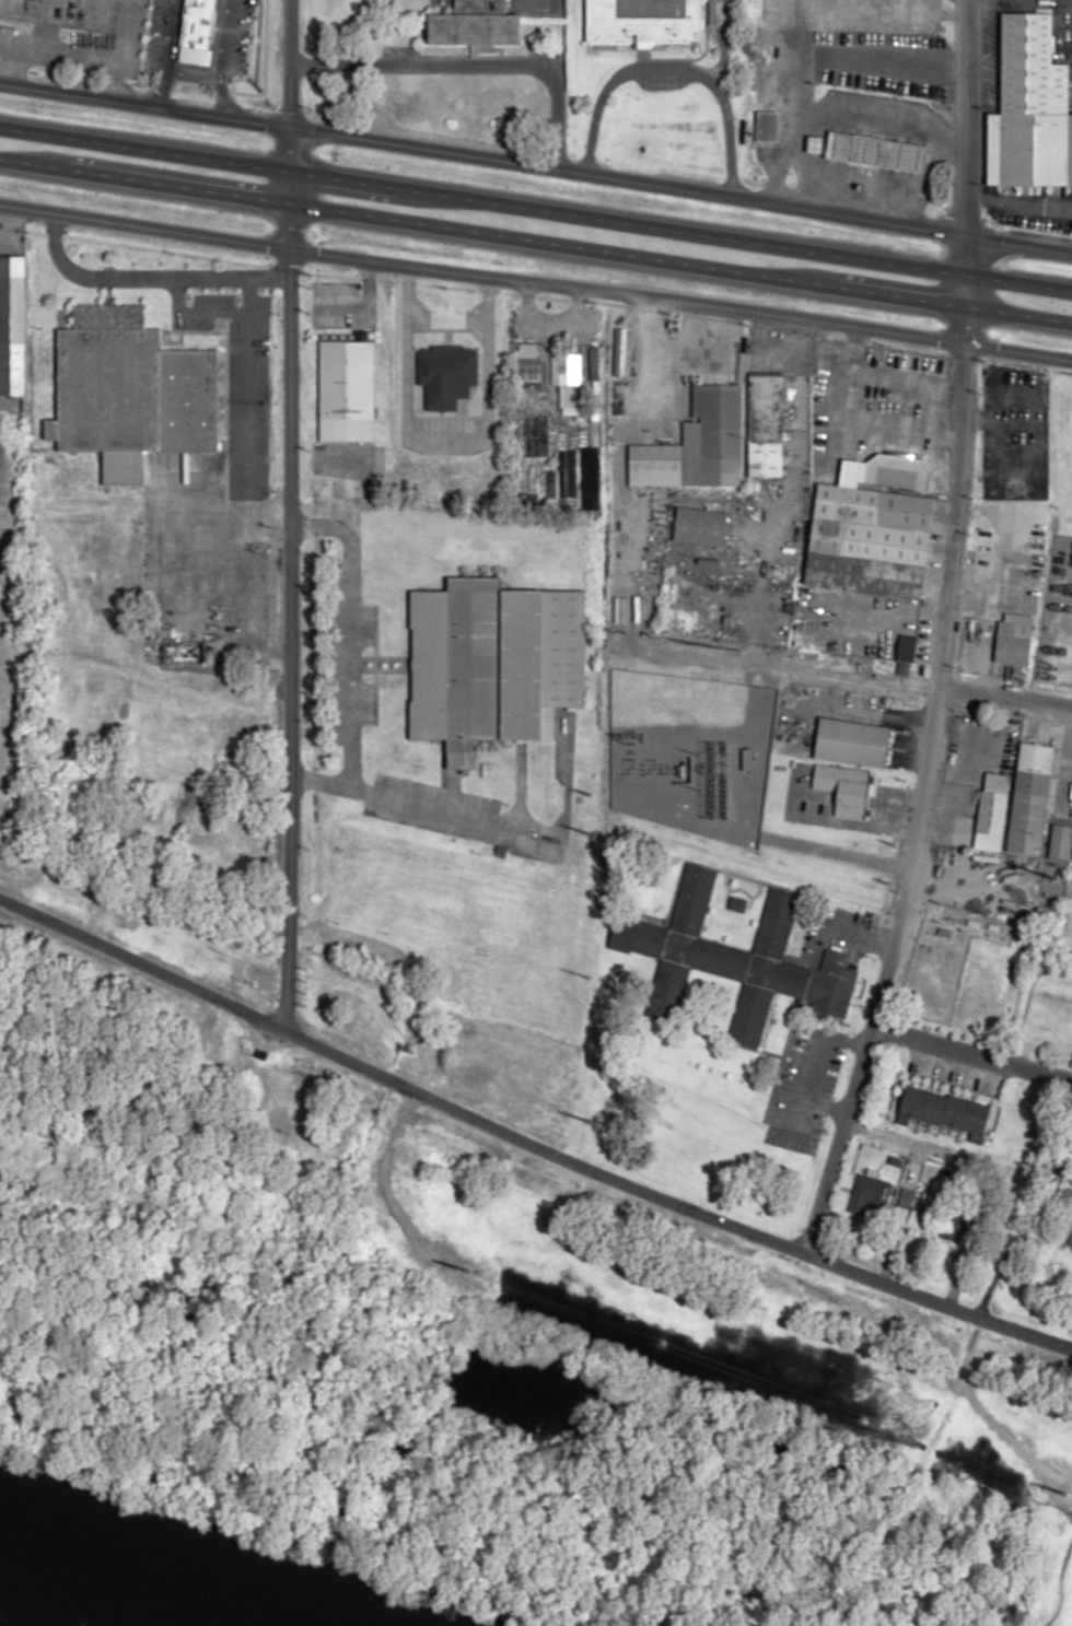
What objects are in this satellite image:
building: (642, 21)
building: (475, 24)
building: (196, 31)
road: (58, 44)
road: (117, 49)
building: (1030, 107)
building: (765, 125)
building: (876, 150)
road: (536, 164)
road: (535, 208)
road: (535, 241)
road: (535, 282)
building: (11, 325)
building: (525, 362)
building: (563, 376)
building: (345, 390)
building: (129, 391)
building: (764, 425)
building: (539, 435)
building: (696, 445)
building: (564, 468)
building: (896, 471)
road: (288, 516)
building: (699, 525)
building: (867, 541)
building: (1018, 608)
road: (936, 633)
building: (492, 662)
road: (913, 681)
building: (851, 741)
power substation: (688, 750)
building: (844, 788)
building: (1029, 798)
building: (990, 819)
building: (1060, 840)
building: (731, 957)
road: (970, 1052)
building: (943, 1112)
road: (529, 1142)
building: (869, 1195)
building: (914, 1209)
building: (954, 1224)
road: (664, 1359)
river: (155, 1574)

